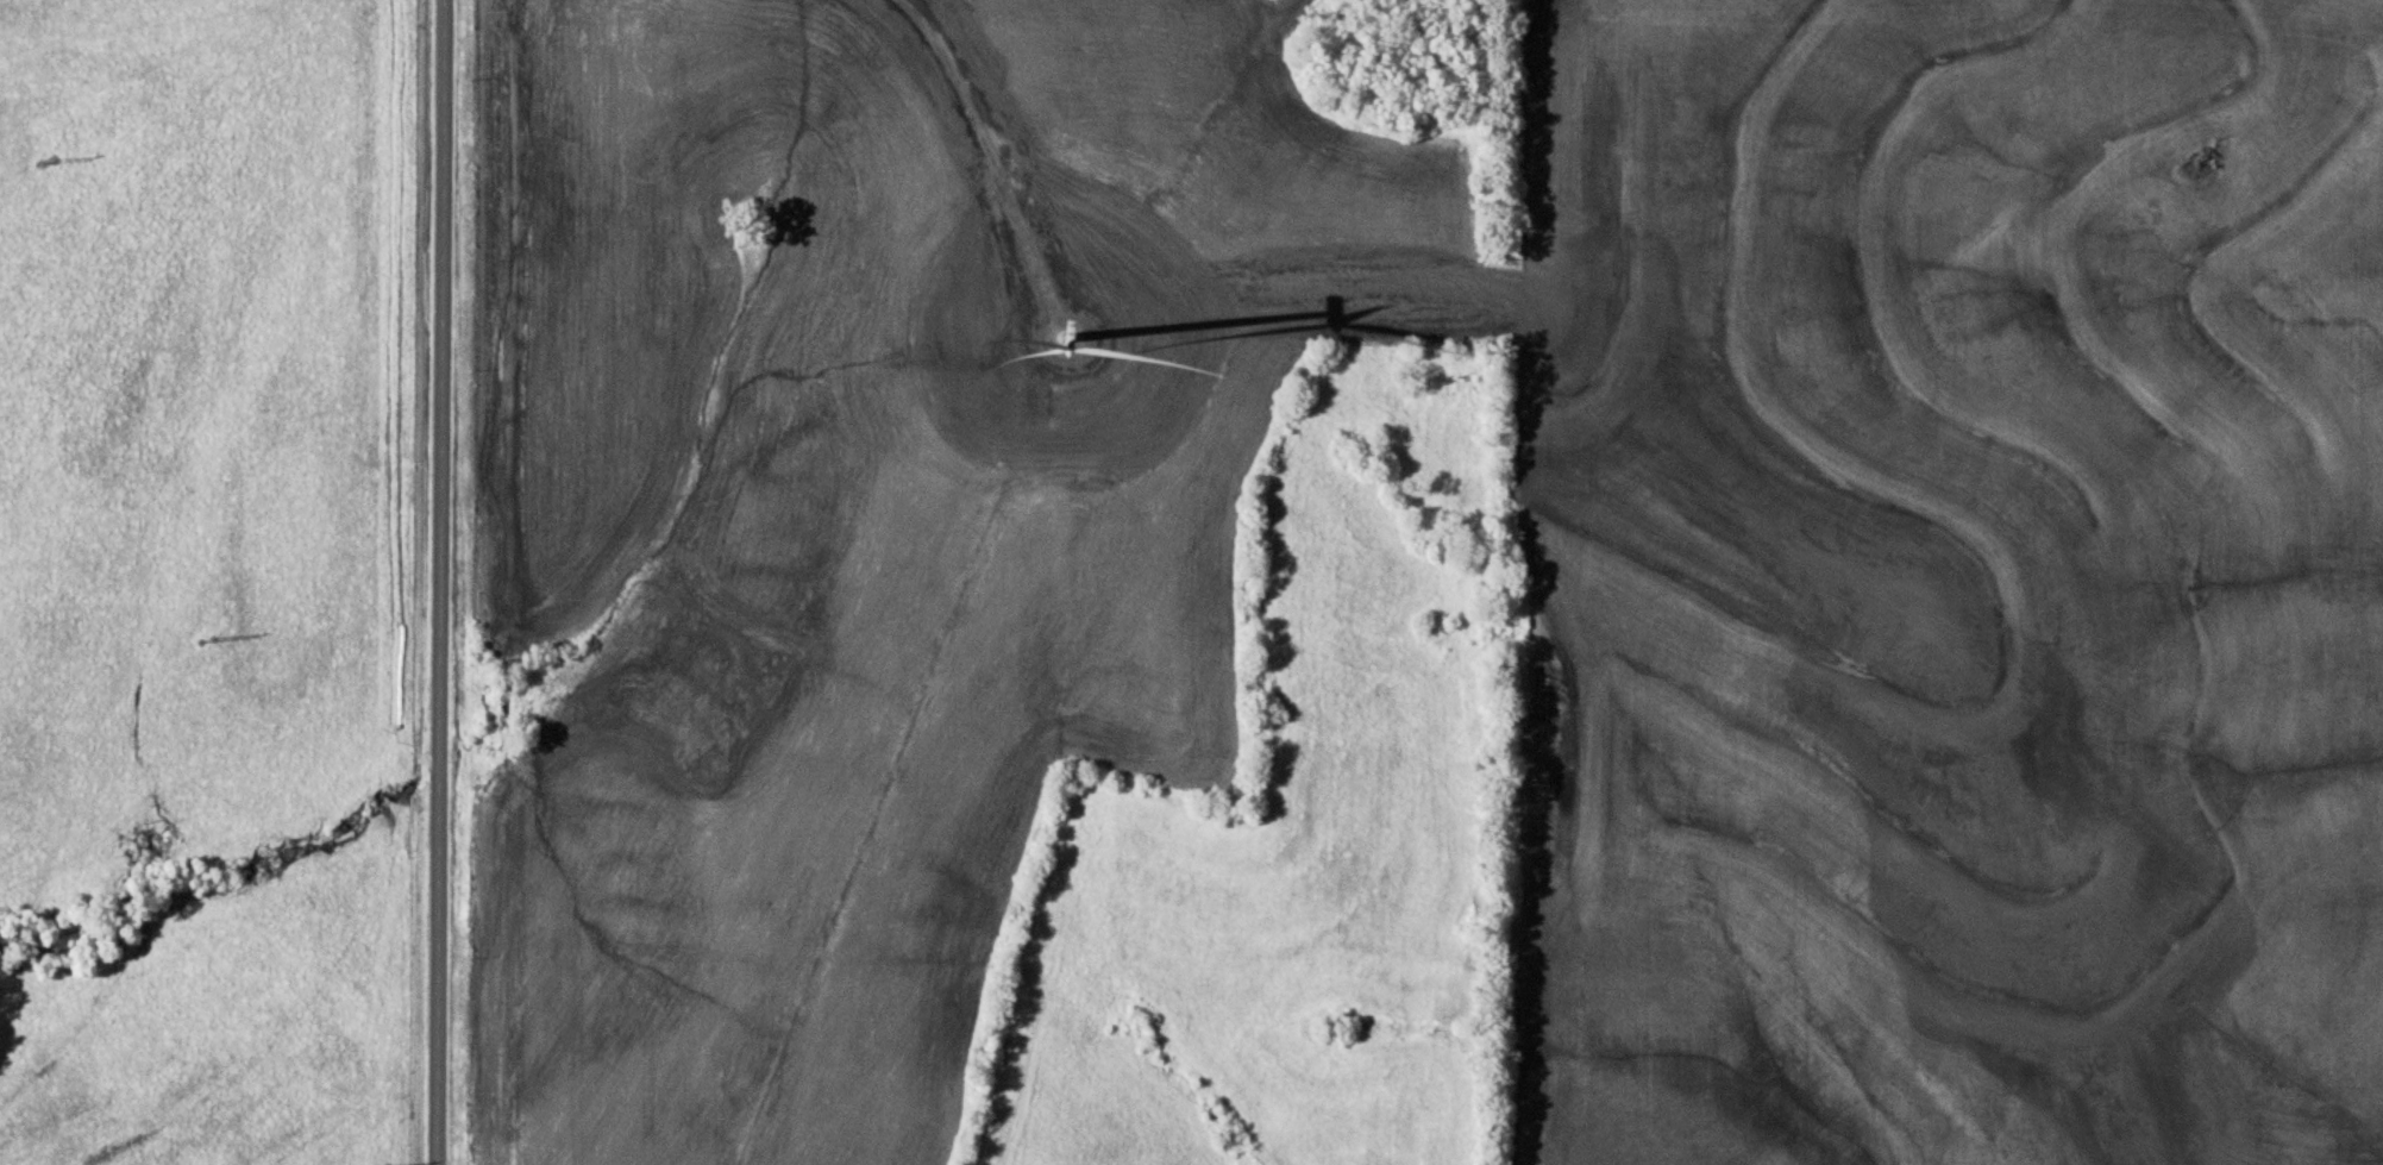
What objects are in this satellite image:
wind turbine: (1064, 351)
road: (438, 582)

